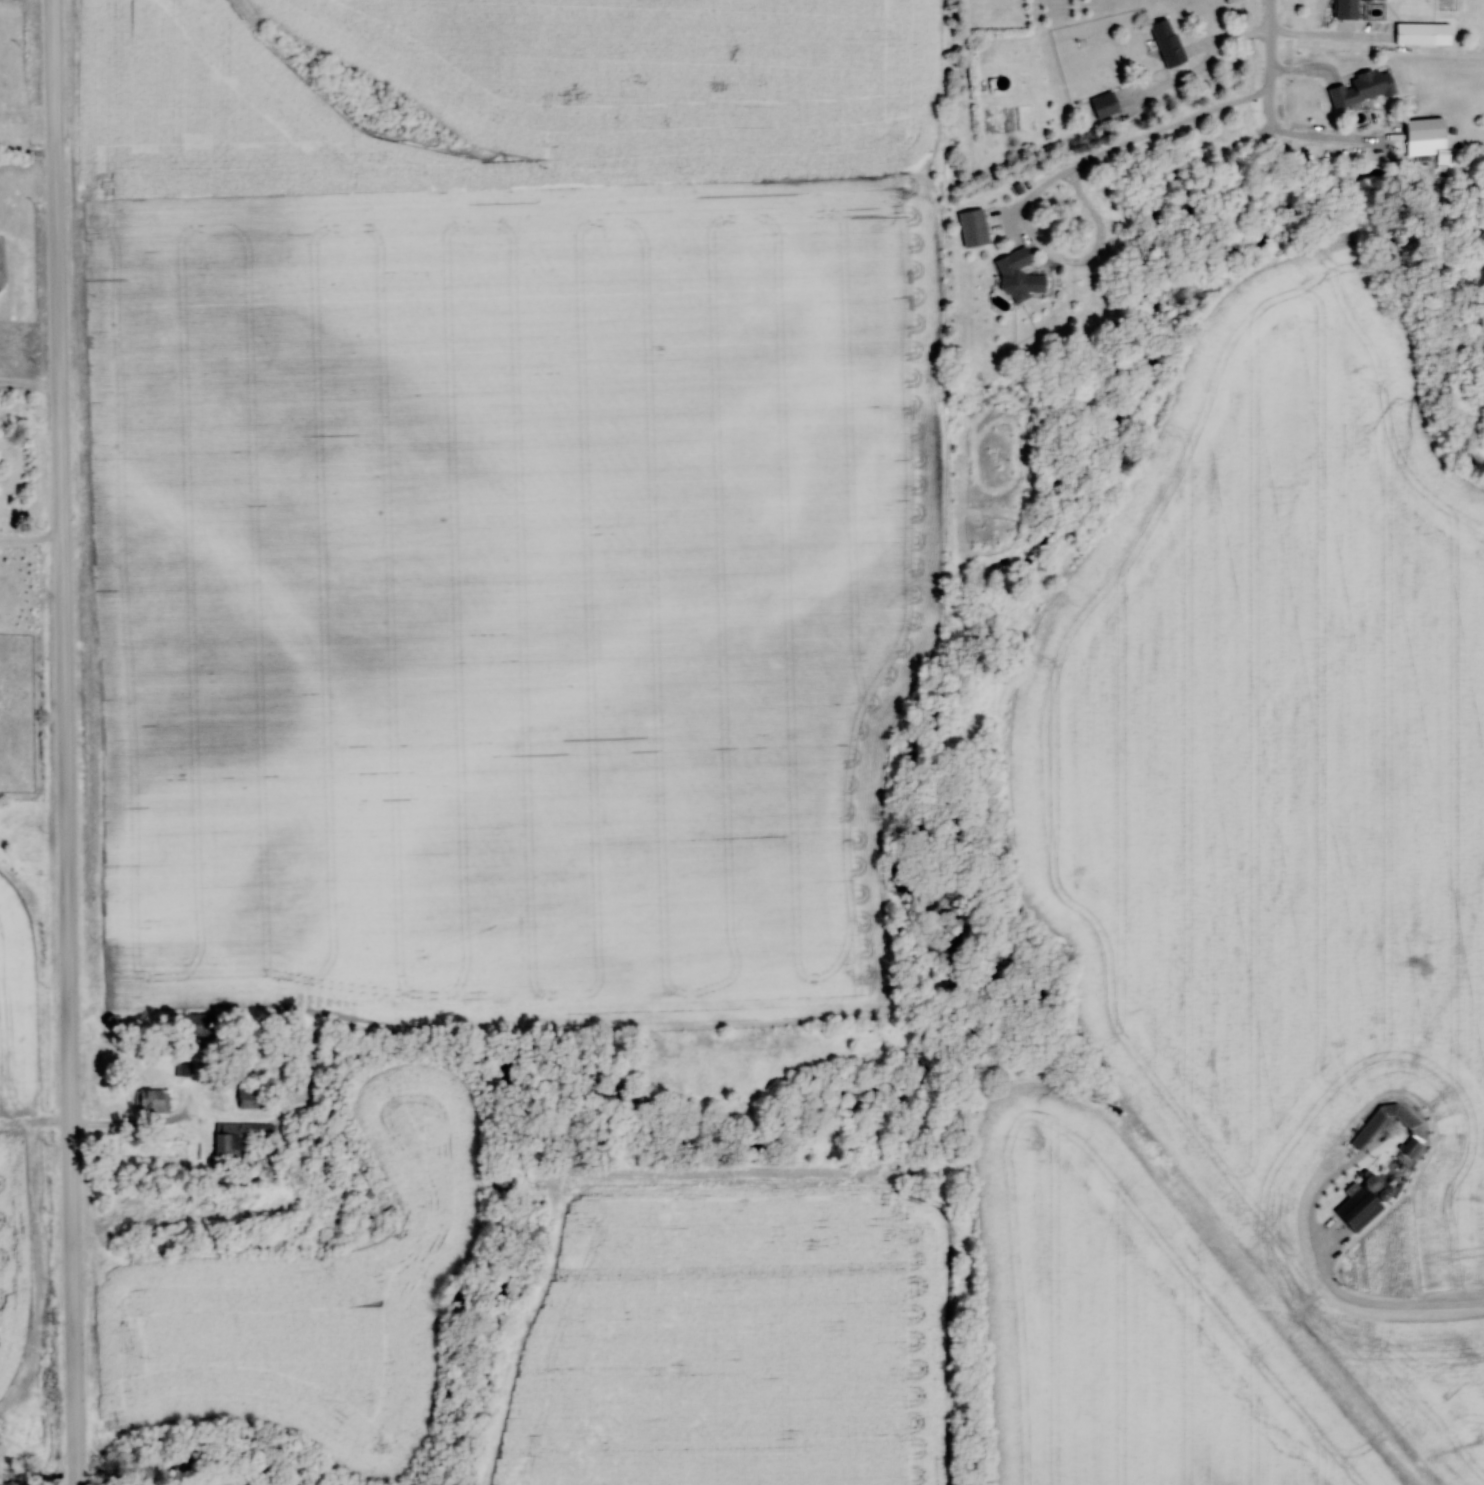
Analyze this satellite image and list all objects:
building: (1345, 9)
building: (1414, 33)
building: (1167, 42)
road: (1269, 45)
building: (1360, 88)
building: (1104, 104)
building: (1424, 129)
road: (27, 152)
road: (1054, 180)
building: (1018, 275)
road: (64, 742)
building: (199, 1024)
building: (184, 1069)
building: (250, 1094)
building: (152, 1100)
building: (238, 1142)
building: (1371, 1183)

